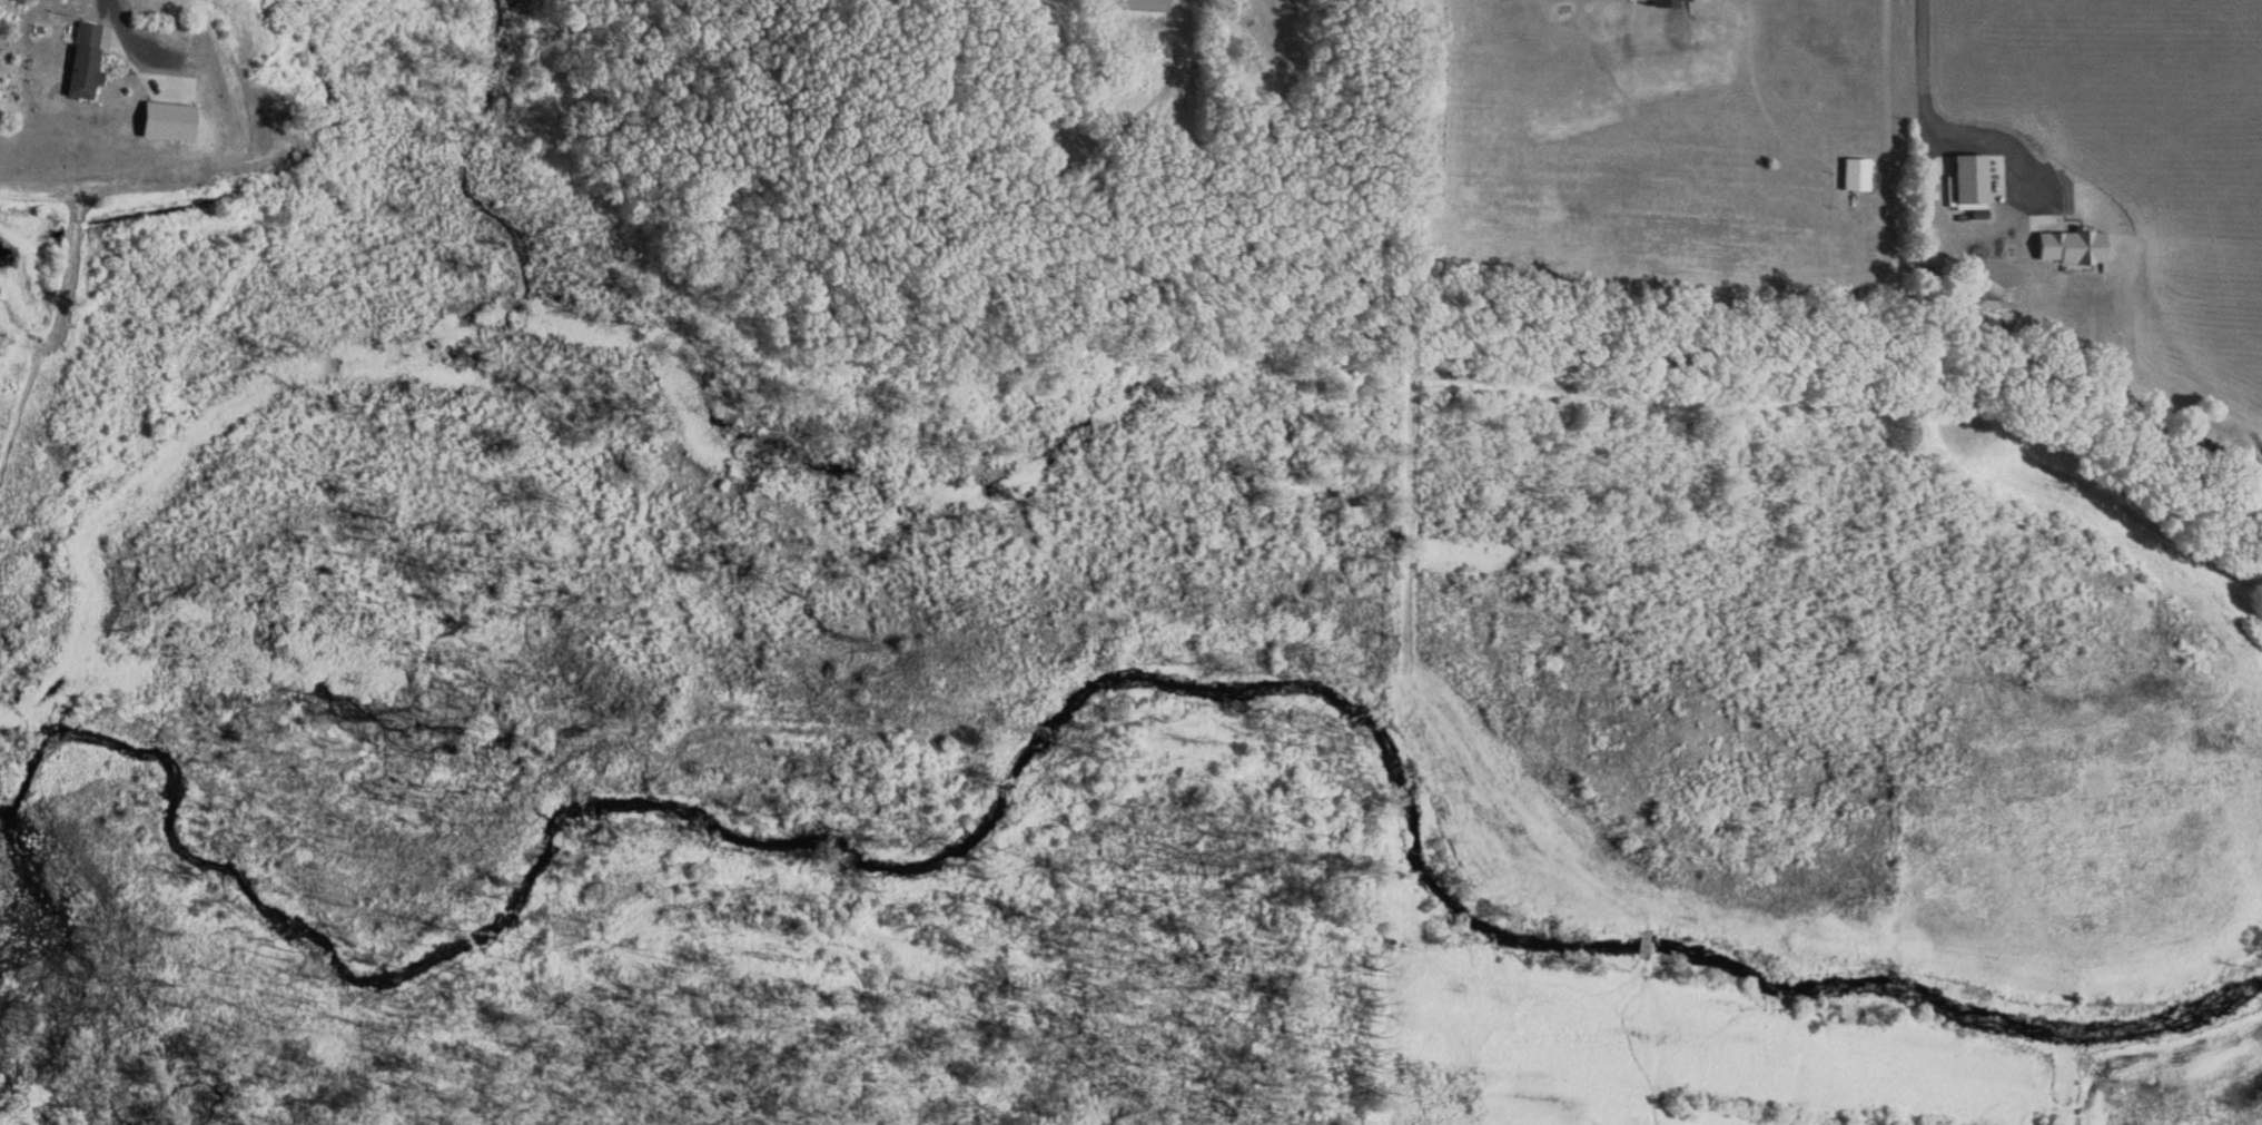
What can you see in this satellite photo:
building: (1146, 1)
road: (129, 36)
road: (1924, 59)
building: (83, 60)
building: (166, 120)
building: (1855, 174)
building: (1968, 177)

